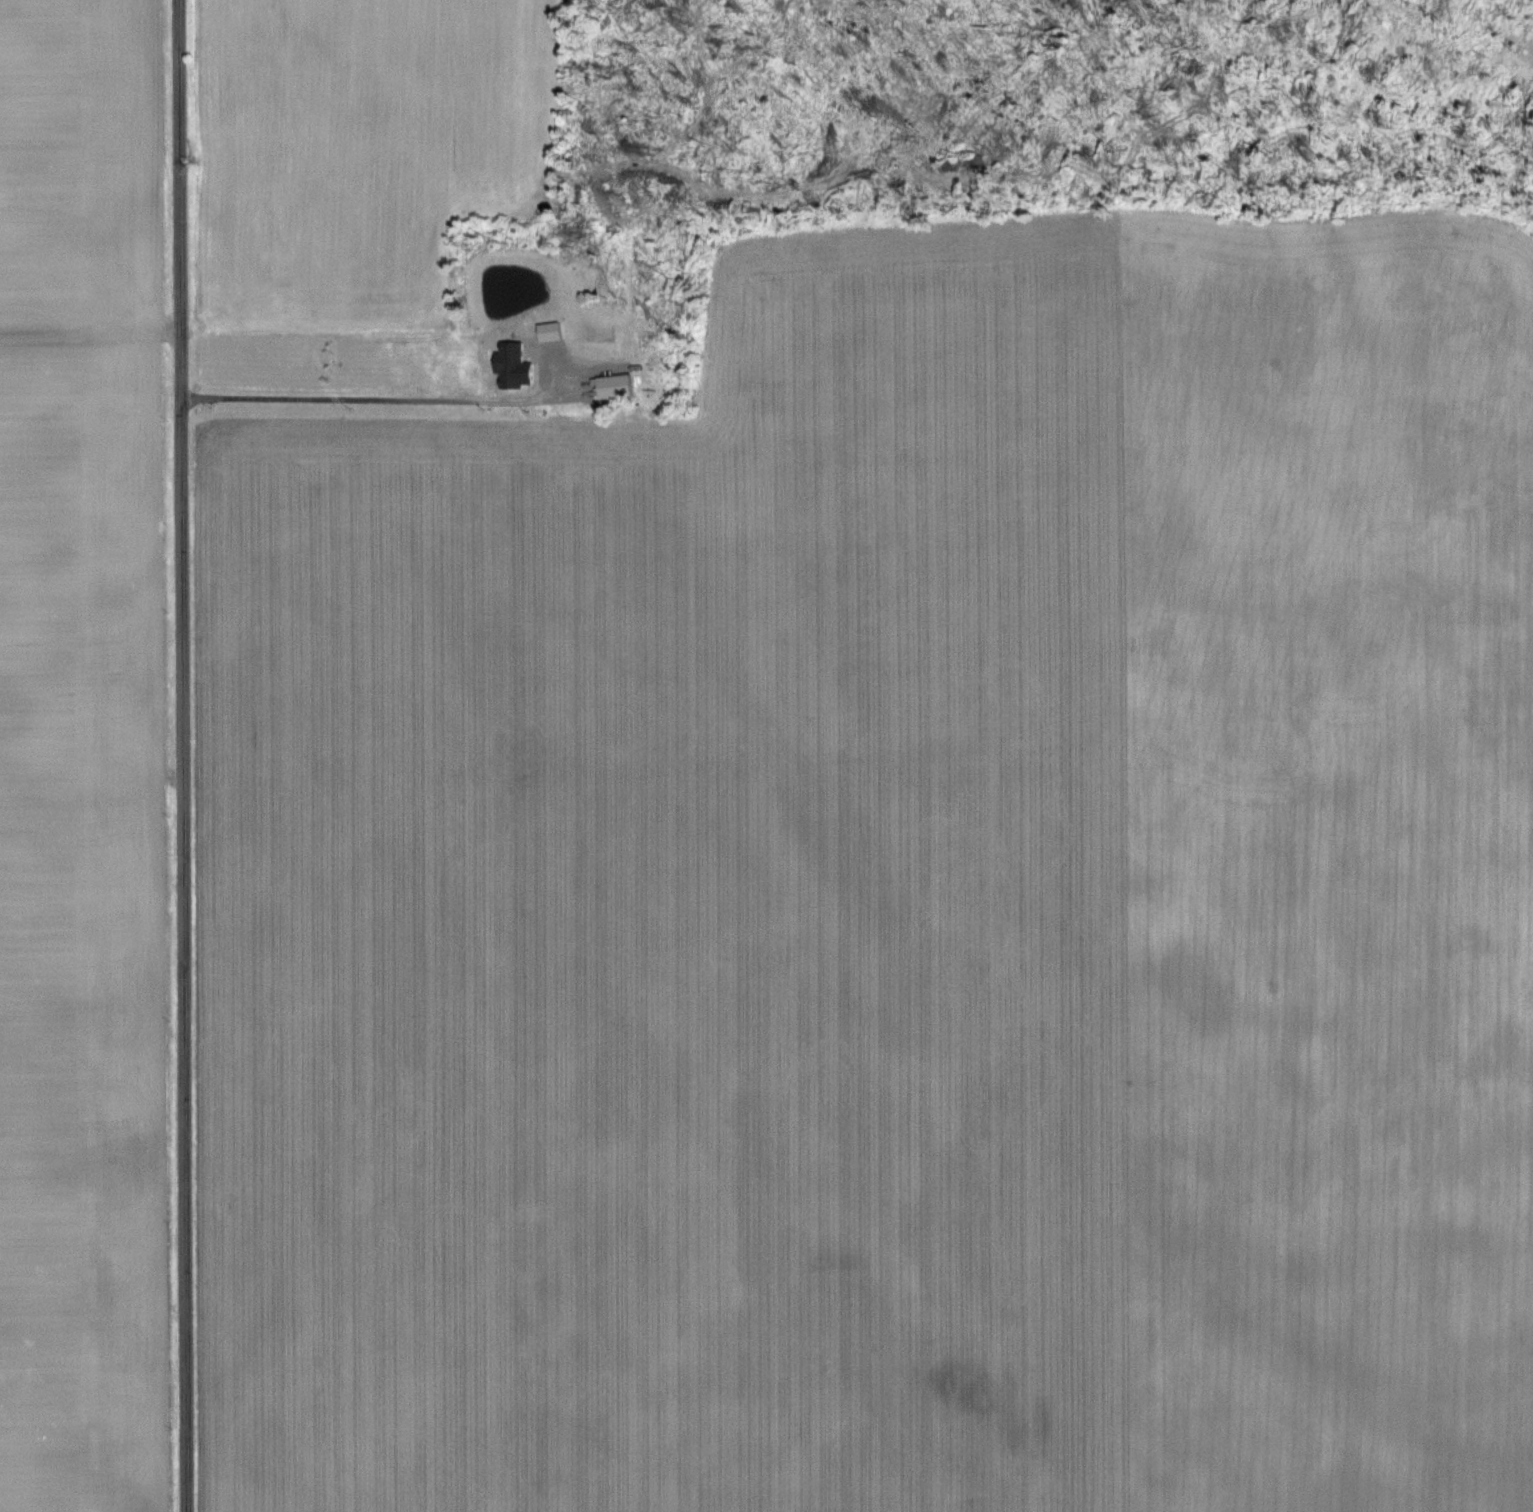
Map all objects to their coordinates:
road: (90, 309)
building: (545, 331)
building: (609, 387)
road: (379, 436)
road: (182, 755)

